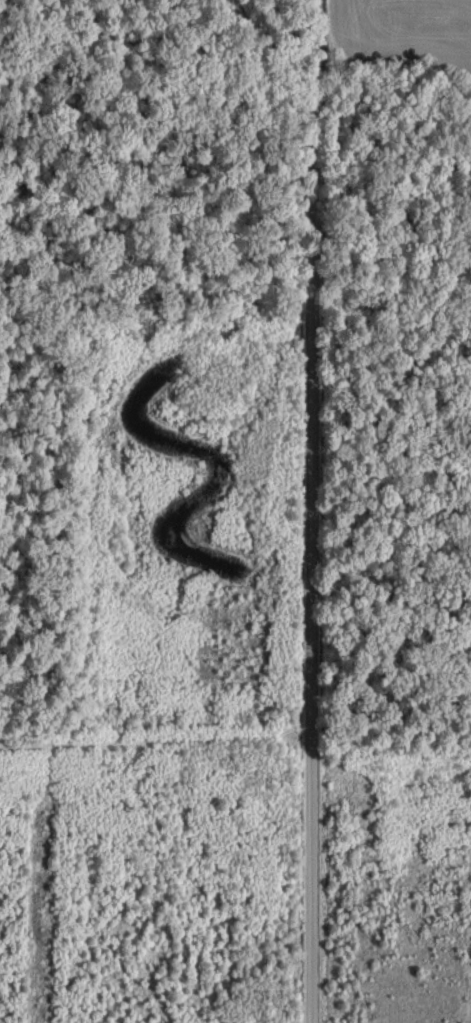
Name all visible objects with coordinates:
road: (311, 511)

